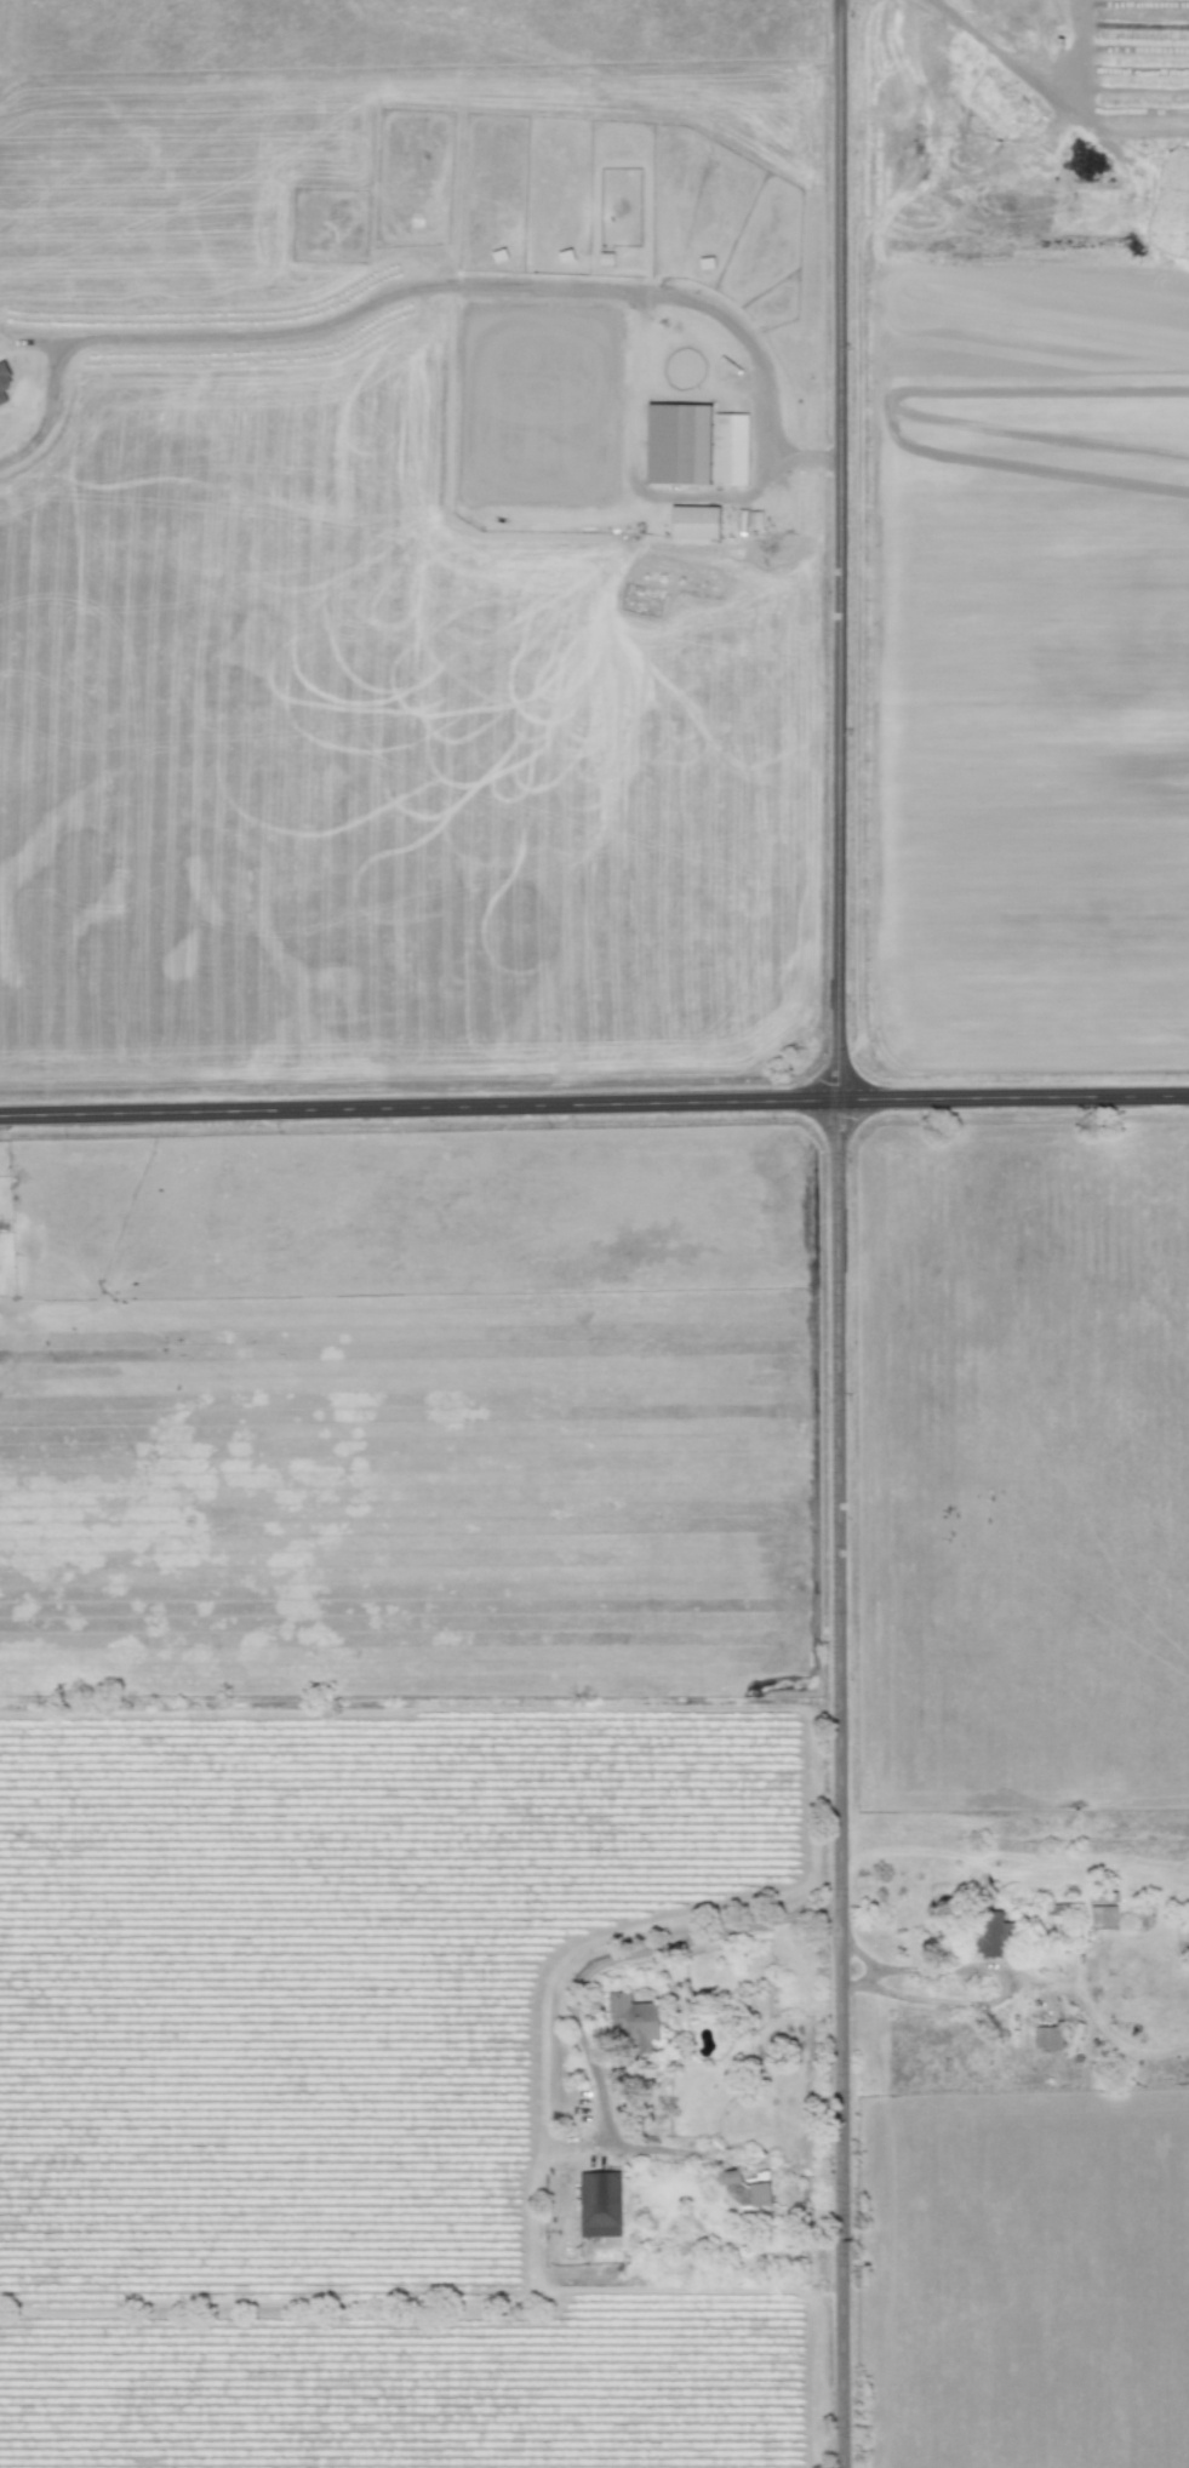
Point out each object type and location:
road: (1029, 86)
road: (427, 290)
building: (4, 382)
building: (678, 444)
building: (730, 450)
building: (693, 522)
road: (594, 1109)
road: (831, 1233)
building: (1101, 1916)
building: (991, 1935)
road: (864, 1971)
road: (585, 1972)
road: (1002, 1983)
building: (633, 2021)
building: (1047, 2038)
building: (730, 2177)
building: (760, 2194)
building: (599, 2205)

